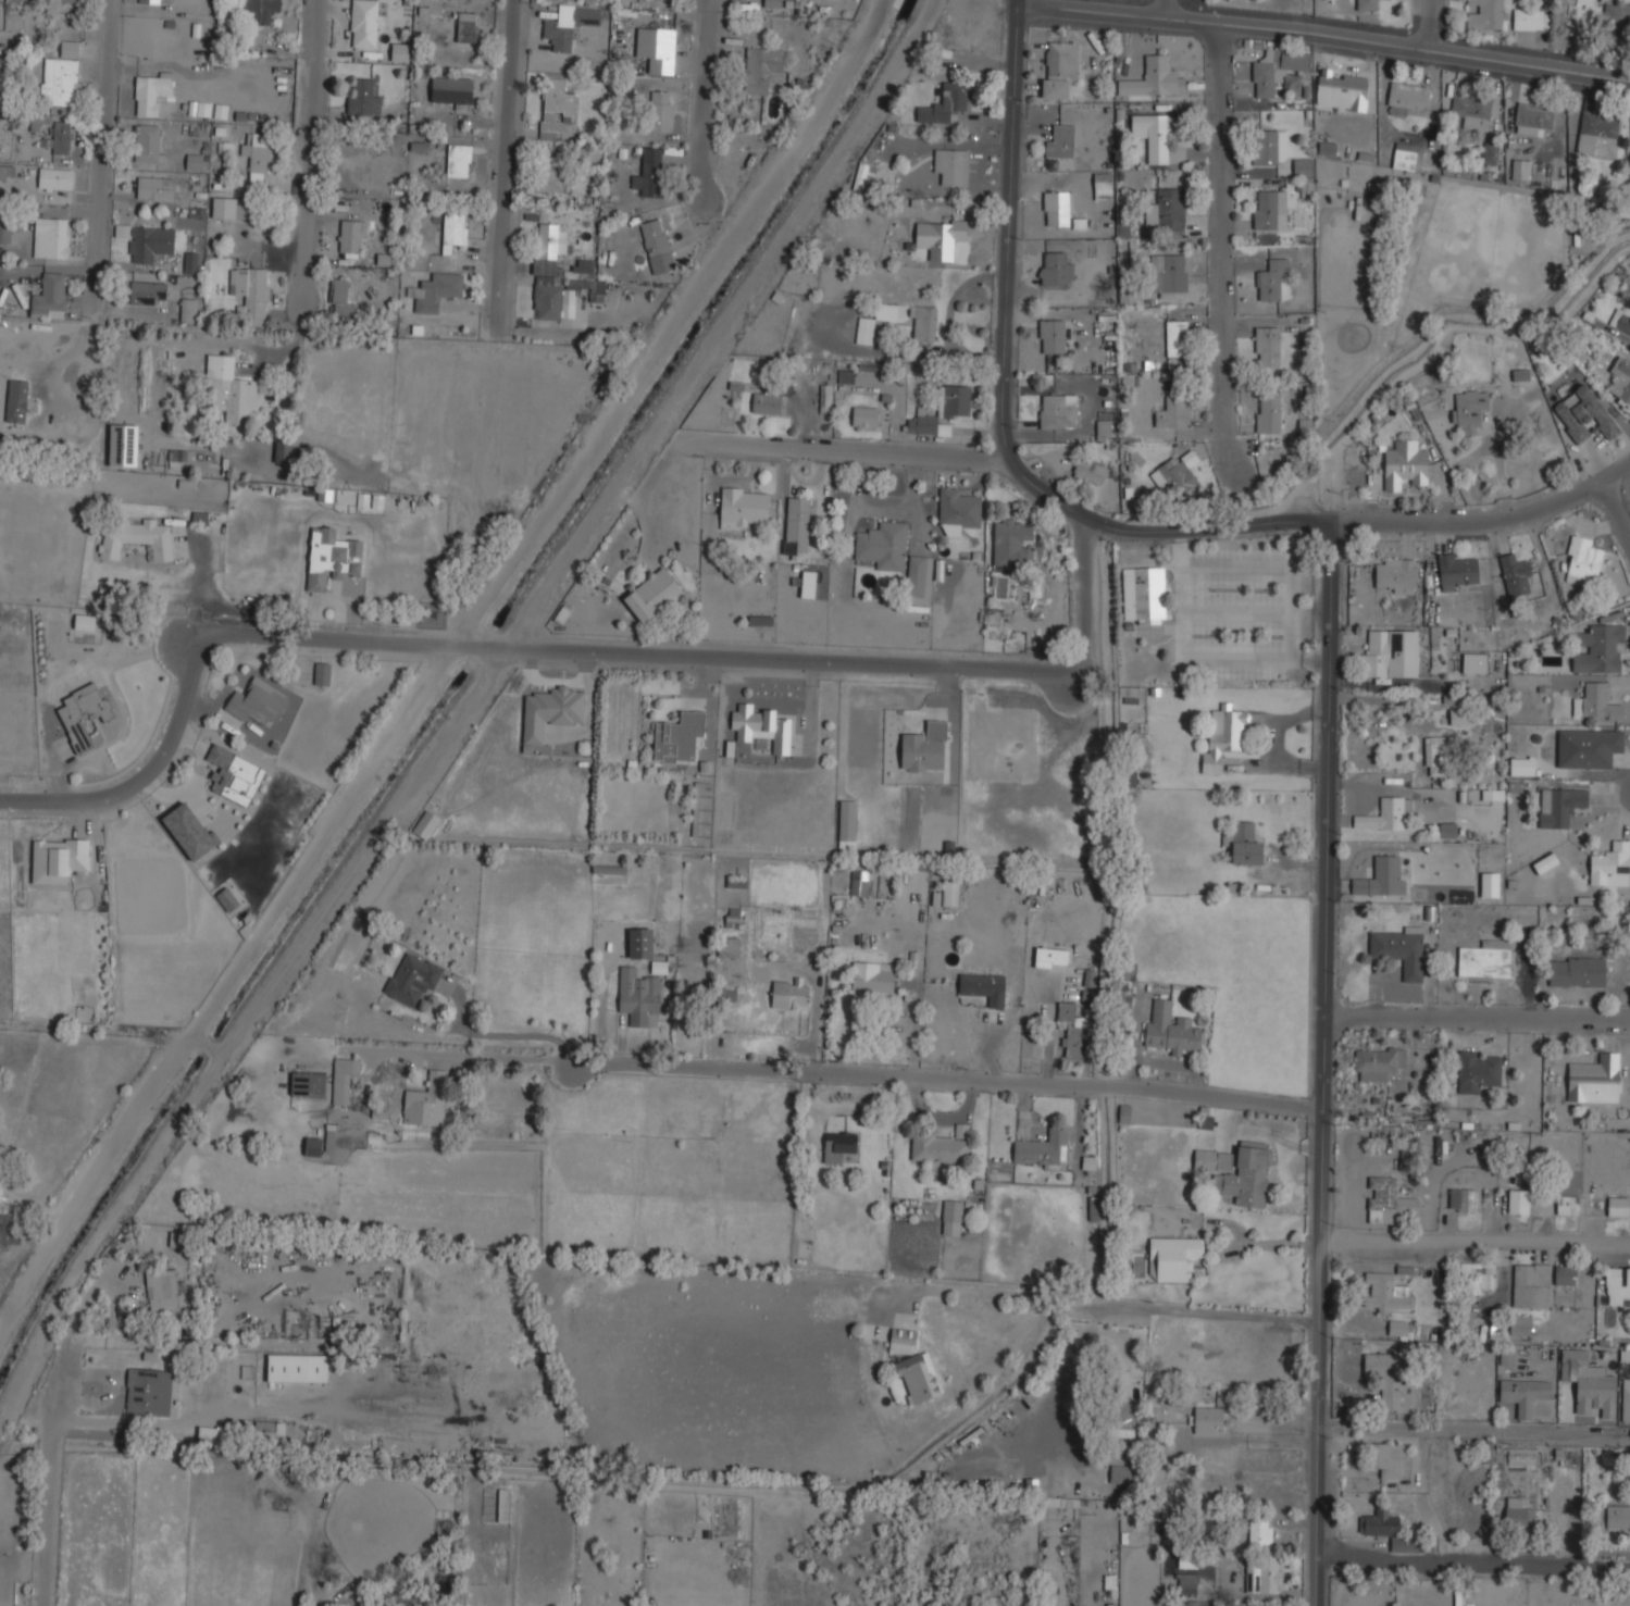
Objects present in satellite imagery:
building: (65, 0)
building: (150, 2)
building: (772, 3)
building: (1368, 4)
building: (261, 9)
road: (1168, 9)
building: (423, 14)
building: (1488, 14)
building: (1531, 20)
building: (1616, 22)
building: (363, 23)
building: (570, 23)
road: (1430, 23)
building: (466, 26)
road: (1323, 35)
building: (657, 48)
building: (399, 52)
building: (1060, 67)
building: (1277, 67)
building: (763, 70)
building: (61, 75)
building: (1154, 78)
building: (1343, 89)
building: (152, 91)
building: (453, 91)
building: (363, 96)
road: (708, 97)
building: (1406, 97)
building: (945, 103)
building: (556, 107)
building: (200, 109)
building: (661, 110)
building: (1473, 111)
building: (1535, 115)
building: (39, 121)
road: (103, 132)
building: (1598, 134)
building: (1154, 136)
building: (61, 137)
building: (148, 142)
building: (1060, 145)
building: (1268, 146)
building: (1323, 150)
building: (258, 153)
road: (310, 153)
building: (1490, 153)
road: (502, 155)
building: (1405, 157)
building: (459, 160)
building: (196, 163)
building: (953, 165)
building: (1304, 165)
building: (1520, 170)
building: (649, 173)
building: (550, 174)
building: (864, 177)
building: (57, 179)
building: (1104, 184)
building: (157, 187)
building: (229, 207)
building: (1057, 208)
building: (1168, 209)
building: (1268, 209)
road: (1219, 220)
building: (8, 229)
building: (452, 232)
building: (51, 237)
building: (940, 237)
building: (350, 238)
building: (147, 240)
building: (658, 246)
building: (385, 256)
building: (191, 262)
building: (584, 265)
building: (1056, 267)
building: (1168, 272)
building: (556, 274)
building: (1271, 278)
building: (436, 290)
building: (250, 291)
building: (51, 292)
building: (147, 292)
building: (1128, 297)
building: (341, 298)
building: (190, 310)
building: (1621, 320)
building: (924, 322)
building: (864, 332)
building: (1053, 336)
building: (1177, 338)
building: (1268, 345)
building: (1520, 375)
building: (1621, 378)
building: (229, 390)
building: (824, 398)
building: (770, 399)
building: (17, 401)
road: (1001, 406)
building: (1469, 408)
building: (942, 411)
building: (1058, 411)
building: (1173, 411)
building: (1269, 413)
building: (1583, 414)
building: (864, 416)
building: (1104, 429)
road: (1231, 444)
building: (122, 445)
road: (838, 449)
building: (283, 451)
building: (1405, 465)
building: (1091, 471)
building: (1173, 475)
building: (745, 507)
building: (958, 509)
road: (1612, 518)
road: (1488, 521)
building: (797, 524)
building: (137, 537)
building: (1013, 544)
building: (883, 545)
building: (331, 556)
building: (1582, 561)
building: (1458, 573)
building: (1395, 575)
building: (917, 576)
building: (1516, 576)
building: (807, 584)
building: (942, 587)
building: (1145, 595)
building: (654, 596)
building: (1598, 648)
road: (558, 649)
building: (1391, 653)
building: (1476, 662)
building: (322, 673)
building: (1596, 701)
building: (257, 702)
building: (551, 710)
building: (83, 713)
building: (762, 727)
building: (1228, 729)
building: (677, 737)
building: (924, 747)
building: (1589, 747)
building: (1436, 755)
building: (1211, 762)
building: (1522, 767)
building: (234, 775)
building: (1516, 786)
building: (1492, 795)
building: (1560, 805)
building: (1386, 813)
building: (847, 823)
building: (1447, 830)
building: (189, 831)
building: (1244, 843)
building: (58, 860)
building: (1544, 862)
building: (1610, 862)
building: (1382, 877)
building: (736, 883)
building: (1490, 883)
building: (860, 887)
building: (950, 892)
building: (226, 899)
building: (733, 917)
building: (639, 943)
building: (730, 947)
building: (1401, 949)
building: (1050, 957)
building: (1485, 960)
building: (1578, 971)
building: (412, 976)
building: (1088, 978)
building: (872, 979)
building: (984, 986)
building: (789, 994)
building: (638, 995)
building: (1067, 1011)
road: (1478, 1011)
building: (1170, 1029)
road: (398, 1051)
building: (1378, 1062)
road: (1326, 1063)
building: (1477, 1070)
road: (887, 1073)
building: (344, 1078)
building: (1595, 1080)
building: (309, 1083)
building: (423, 1107)
building: (329, 1141)
building: (942, 1145)
building: (313, 1146)
building: (838, 1146)
building: (1043, 1148)
building: (884, 1167)
building: (1240, 1172)
building: (1464, 1199)
building: (1388, 1200)
building: (1519, 1200)
building: (1568, 1205)
building: (1619, 1206)
building: (953, 1217)
building: (10, 1229)
road: (1477, 1245)
building: (1173, 1258)
building: (1566, 1274)
building: (1477, 1278)
building: (1531, 1285)
building: (1618, 1285)
building: (163, 1291)
road: (973, 1291)
building: (1388, 1293)
road: (1194, 1309)
building: (1520, 1325)
building: (1401, 1329)
building: (901, 1341)
building: (1507, 1356)
building: (1573, 1357)
building: (1385, 1377)
building: (918, 1378)
building: (145, 1391)
building: (1523, 1393)
building: (1596, 1394)
building: (1627, 1394)
building: (1208, 1419)
road: (1476, 1429)
building: (271, 1431)
building: (1123, 1433)
building: (211, 1436)
road: (1253, 1440)
building: (1520, 1456)
building: (1385, 1458)
building: (1121, 1474)
road: (51, 1493)
building: (505, 1505)
building: (1519, 1512)
building: (1618, 1516)
building: (1389, 1530)
building: (1260, 1533)
road: (1475, 1564)
building: (1265, 1573)
building: (1189, 1581)
building: (1268, 1605)

